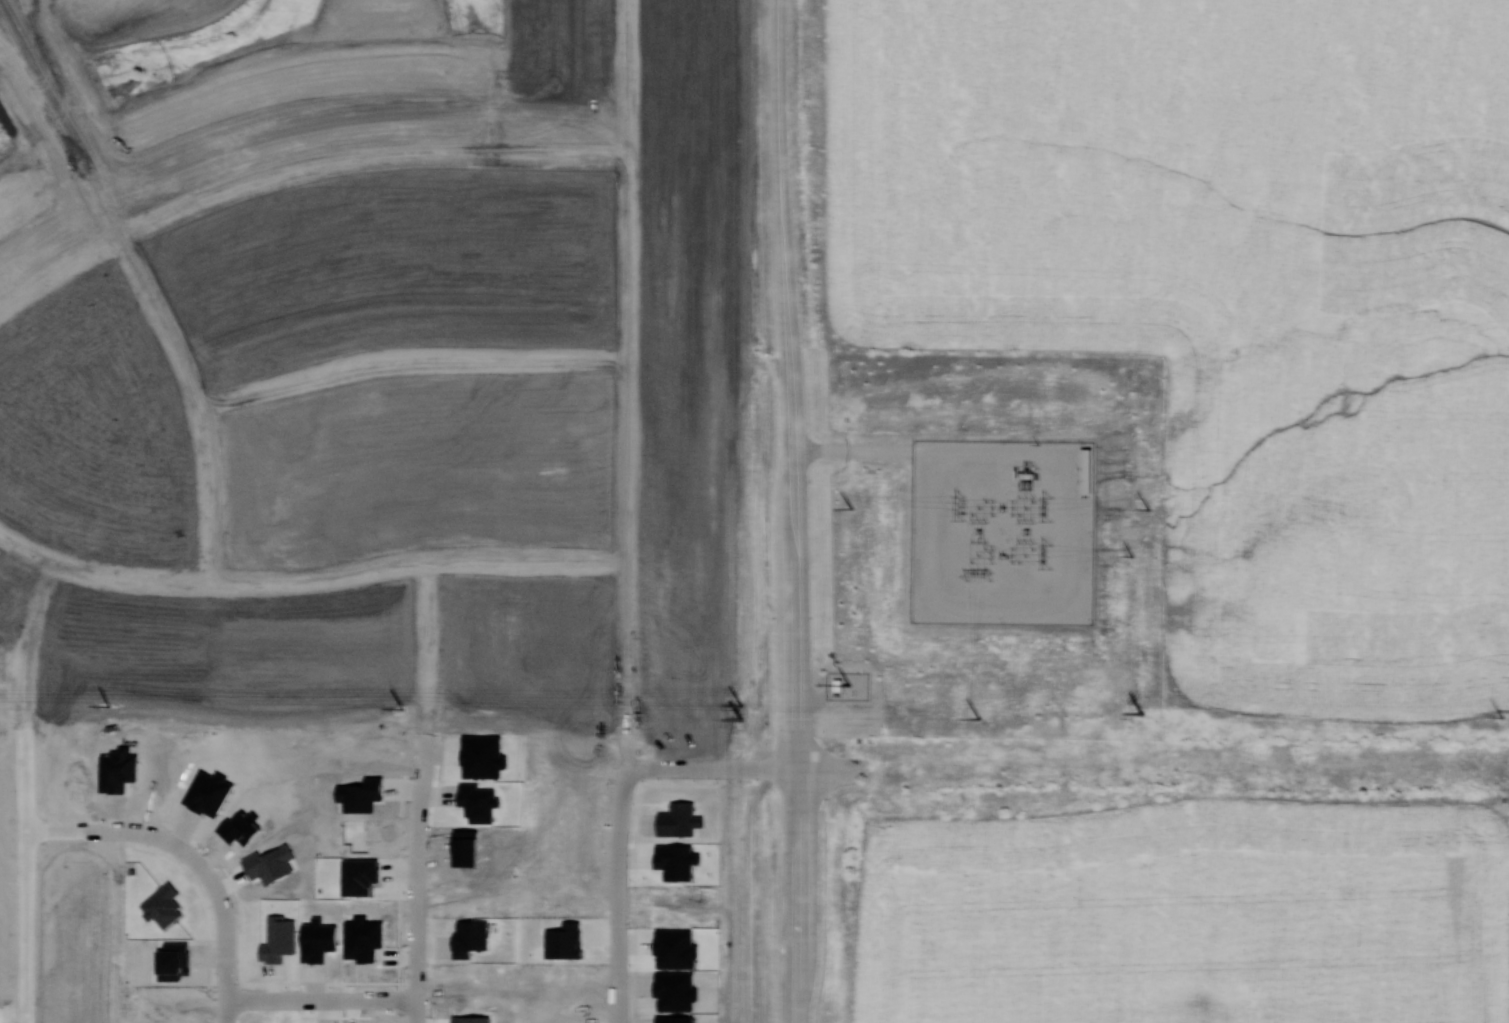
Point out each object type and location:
park: (198, 57)
road: (561, 131)
road: (490, 132)
road: (231, 166)
road: (143, 280)
crop: (1227, 296)
road: (410, 362)
road: (627, 364)
road: (854, 449)
power tower: (850, 506)
power tower: (958, 506)
power tower: (1045, 507)
power tower: (1147, 508)
power substation: (1002, 531)
road: (28, 551)
power tower: (1045, 554)
power tower: (1130, 555)
road: (373, 568)
road: (88, 570)
power tower: (977, 574)
road: (37, 605)
road: (25, 654)
road: (24, 689)
power tower: (108, 705)
power tower: (741, 705)
power tower: (401, 708)
power tower: (1141, 713)
power tower: (1500, 716)
power tower: (977, 717)
power tower: (740, 718)
road: (627, 747)
road: (759, 766)
road: (826, 766)
road: (674, 767)
road: (421, 791)
park: (757, 805)
road: (115, 830)
road: (24, 871)
building: (359, 876)
road: (619, 894)
road: (795, 894)
building: (163, 906)
road: (226, 937)
road: (322, 999)
road: (12, 1013)

